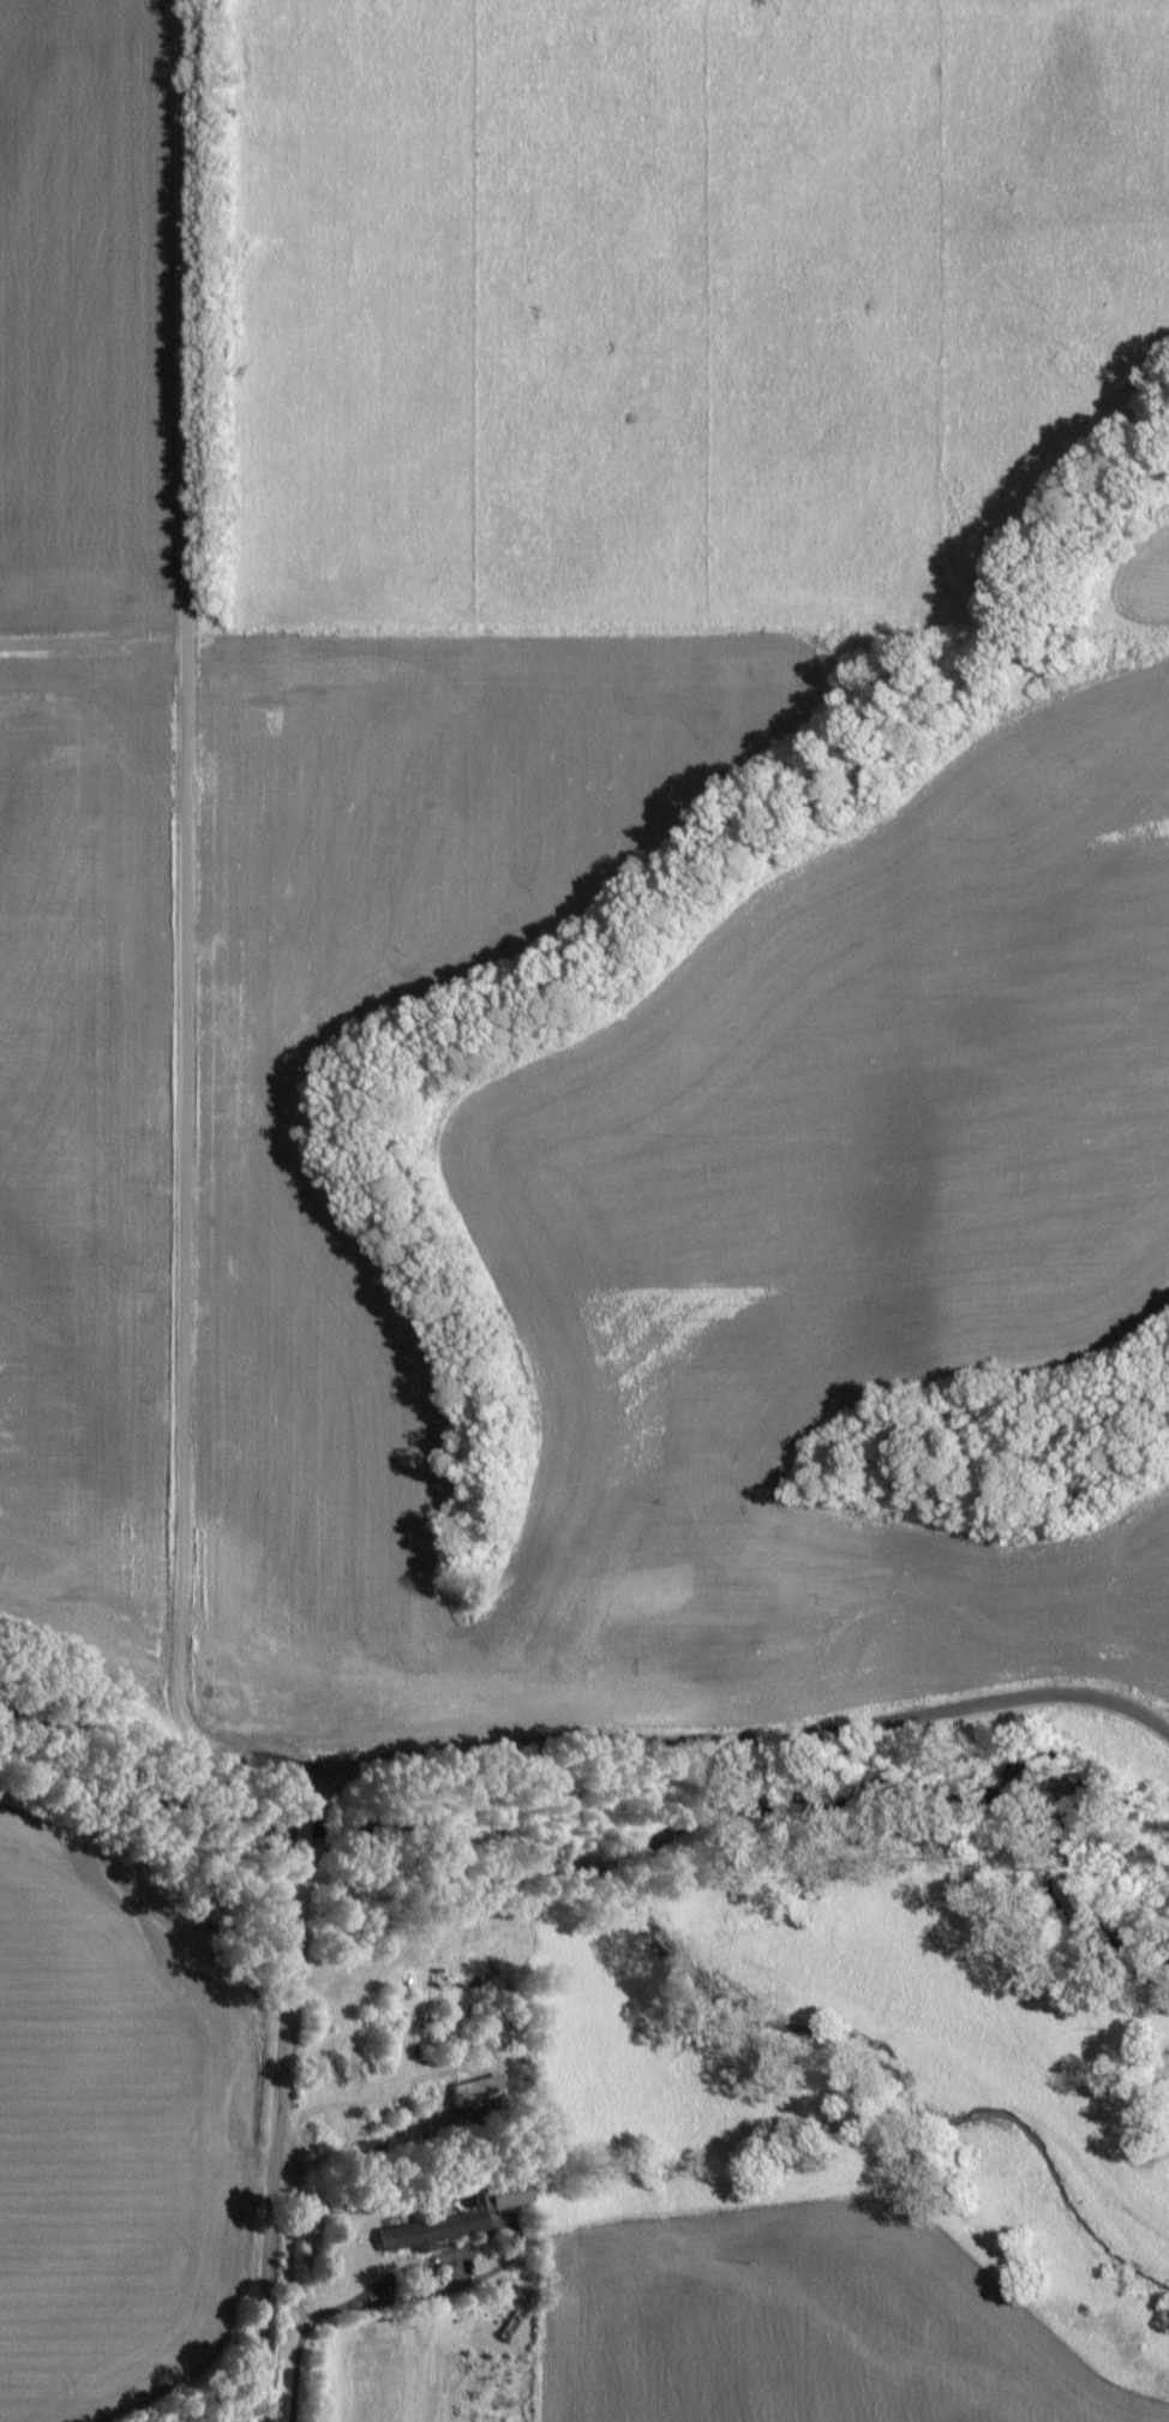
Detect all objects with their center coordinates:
road: (178, 941)
road: (743, 1740)
building: (480, 2099)
road: (296, 2107)
building: (509, 2196)
building: (424, 2232)

